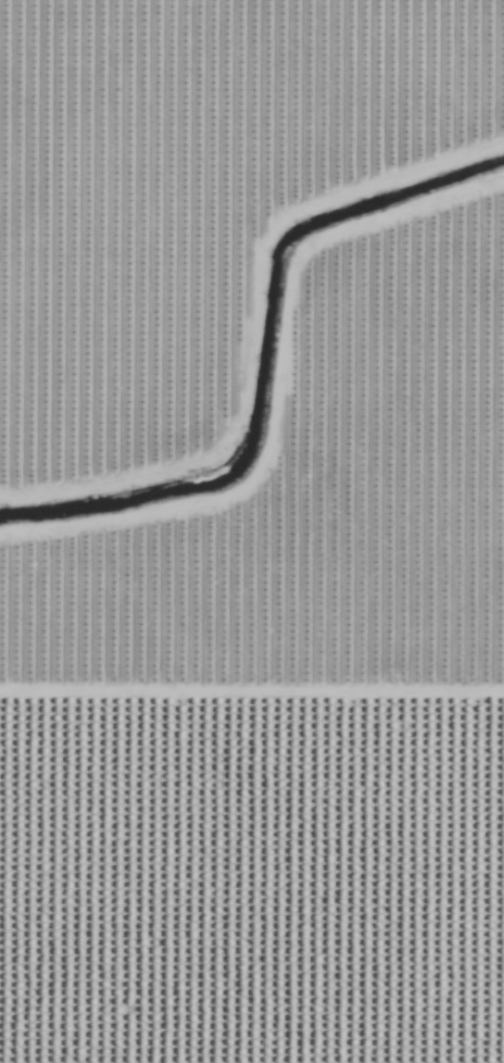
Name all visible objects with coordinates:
road: (252, 692)

